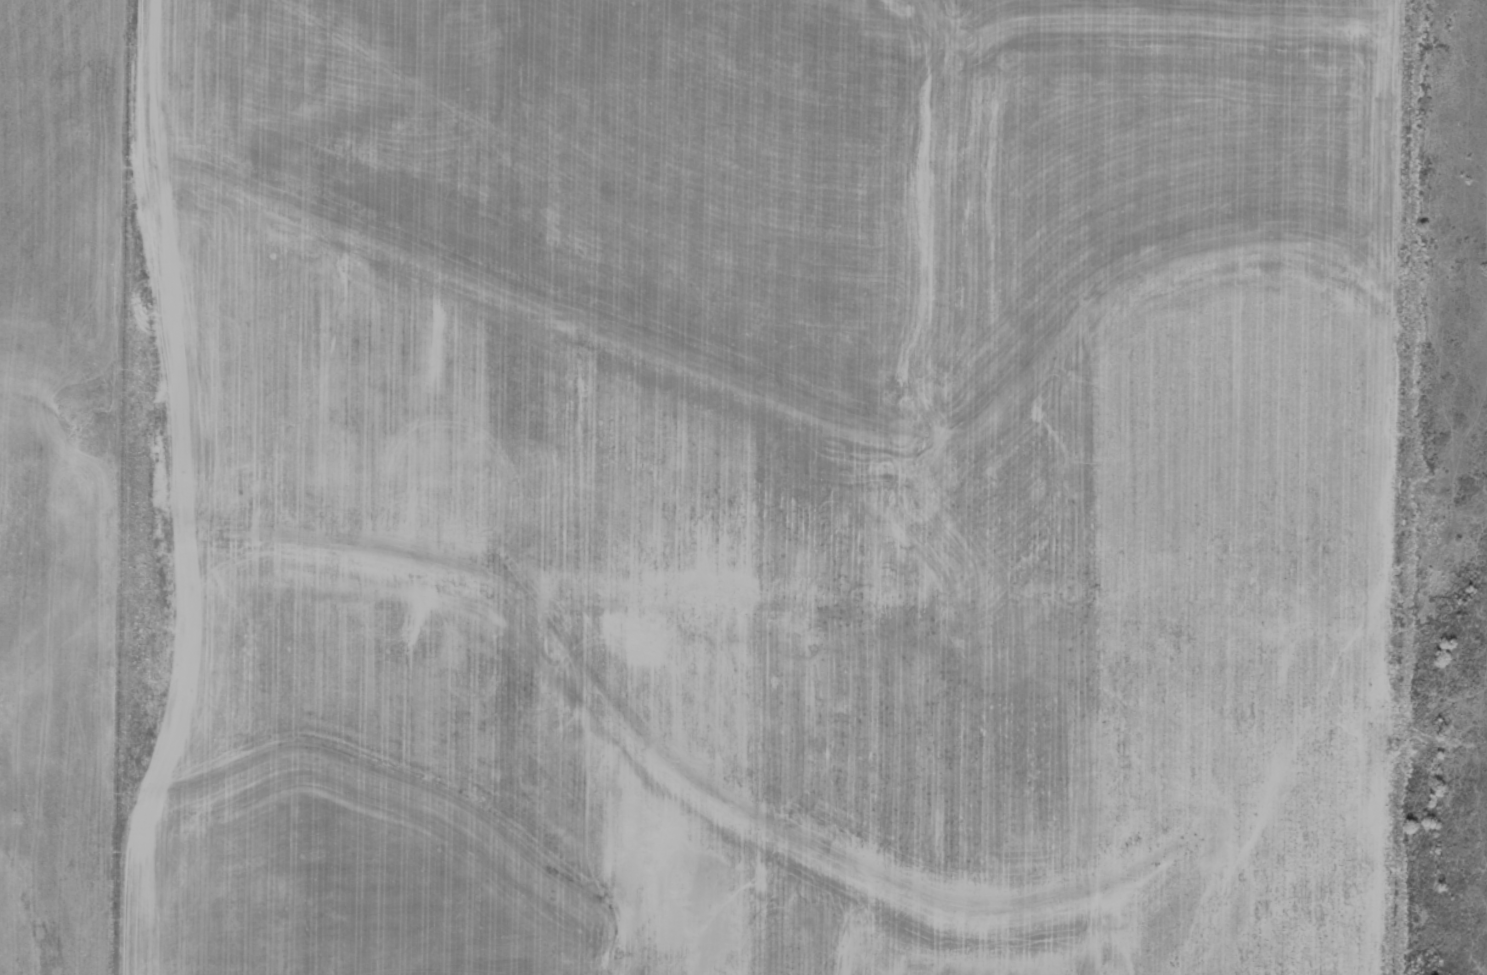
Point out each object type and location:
road: (1390, 506)

